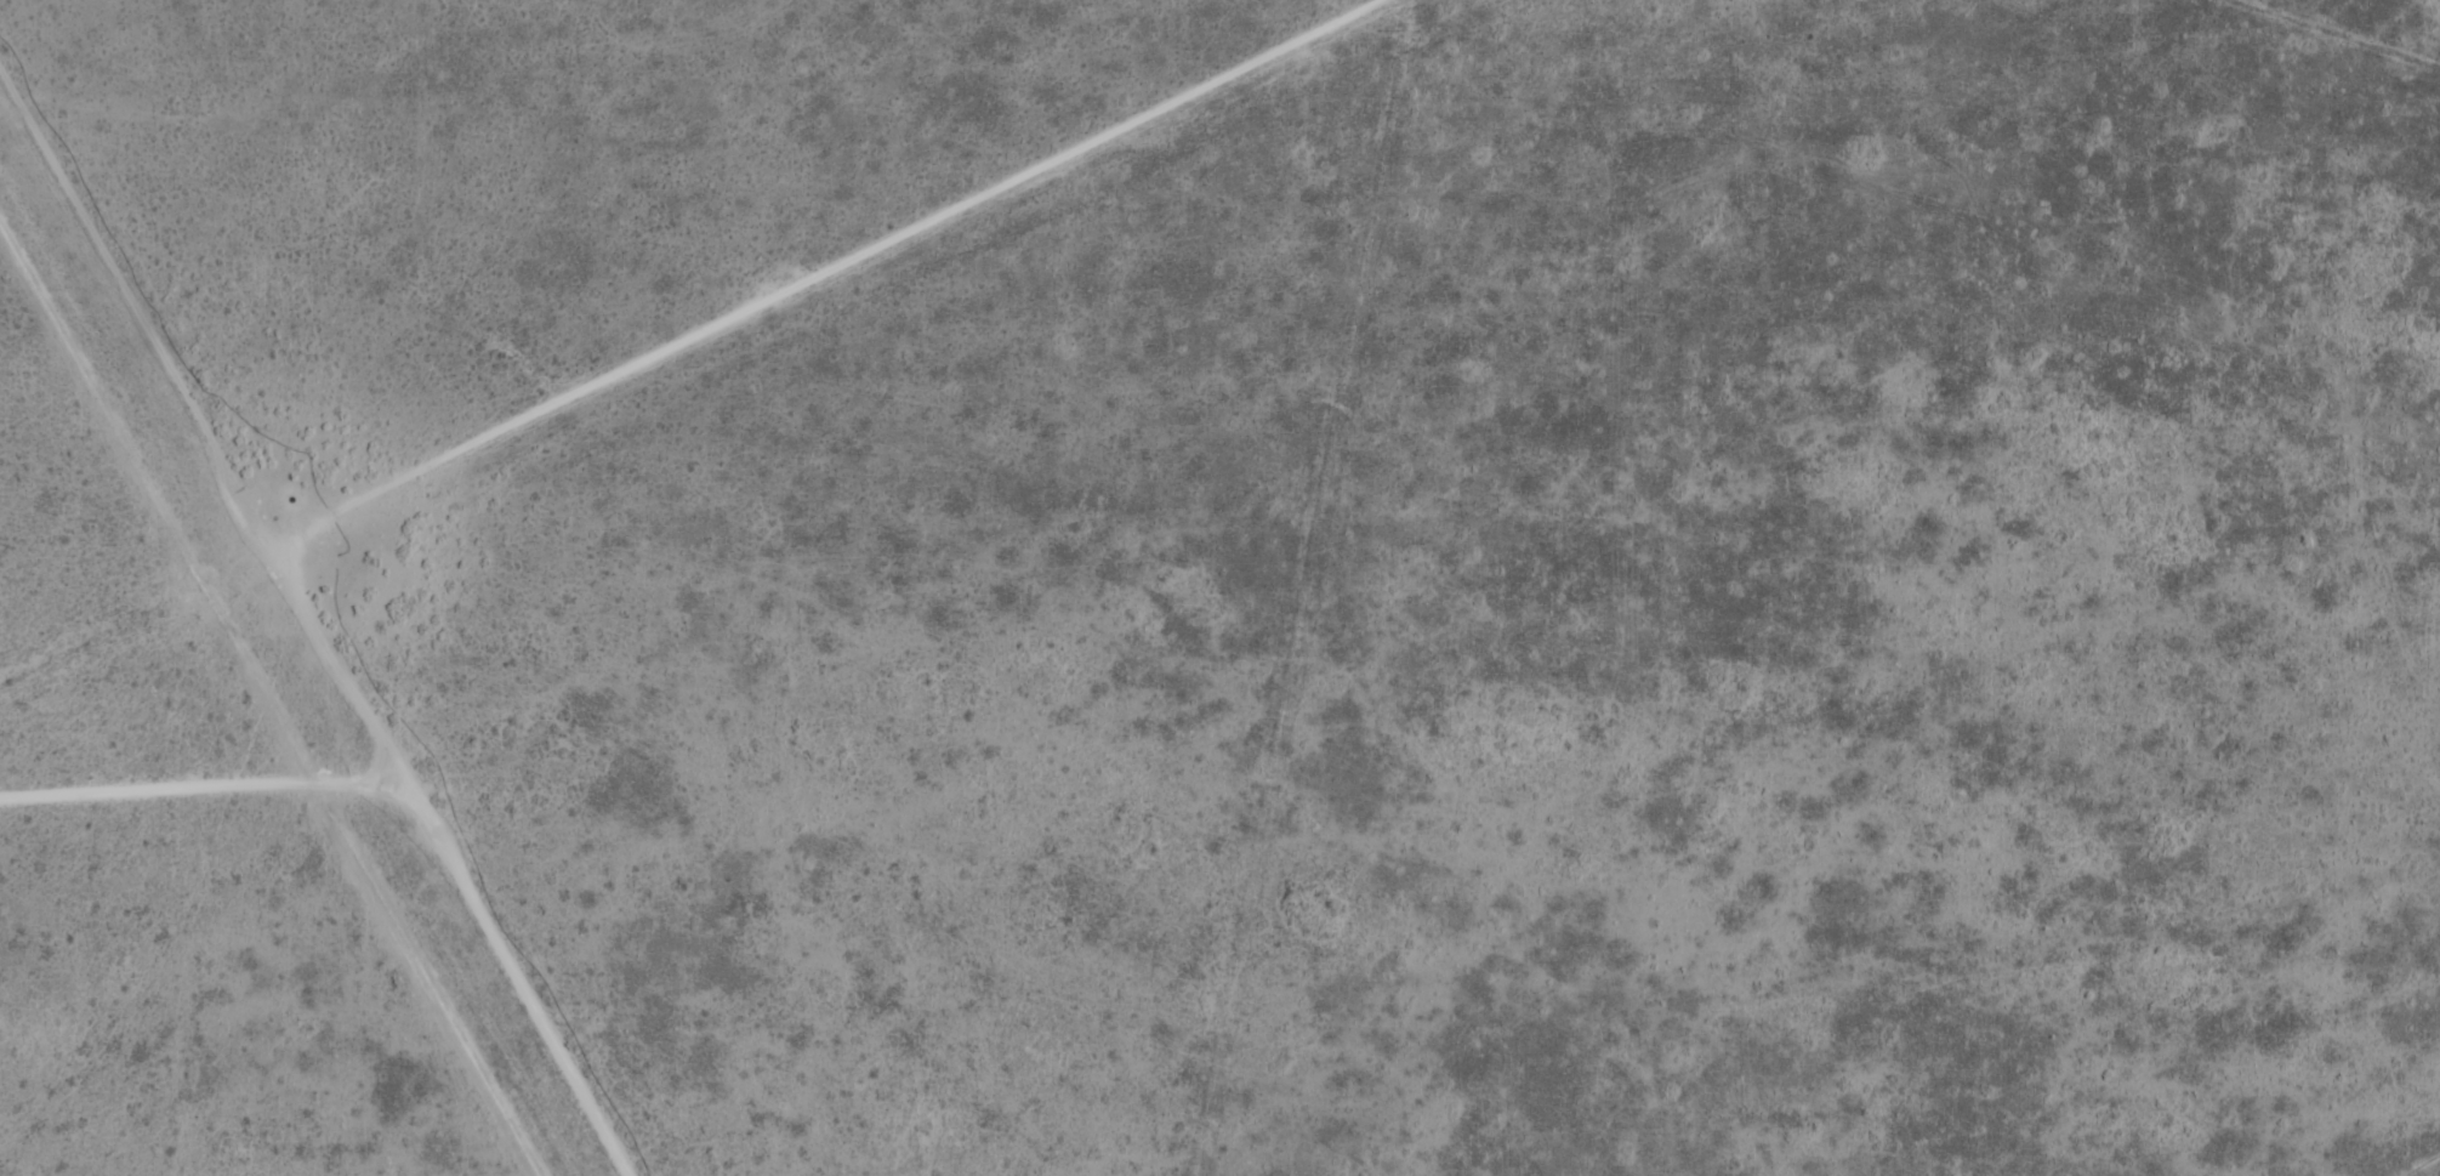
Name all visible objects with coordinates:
road: (859, 265)
road: (365, 646)
road: (216, 776)
road: (551, 968)

